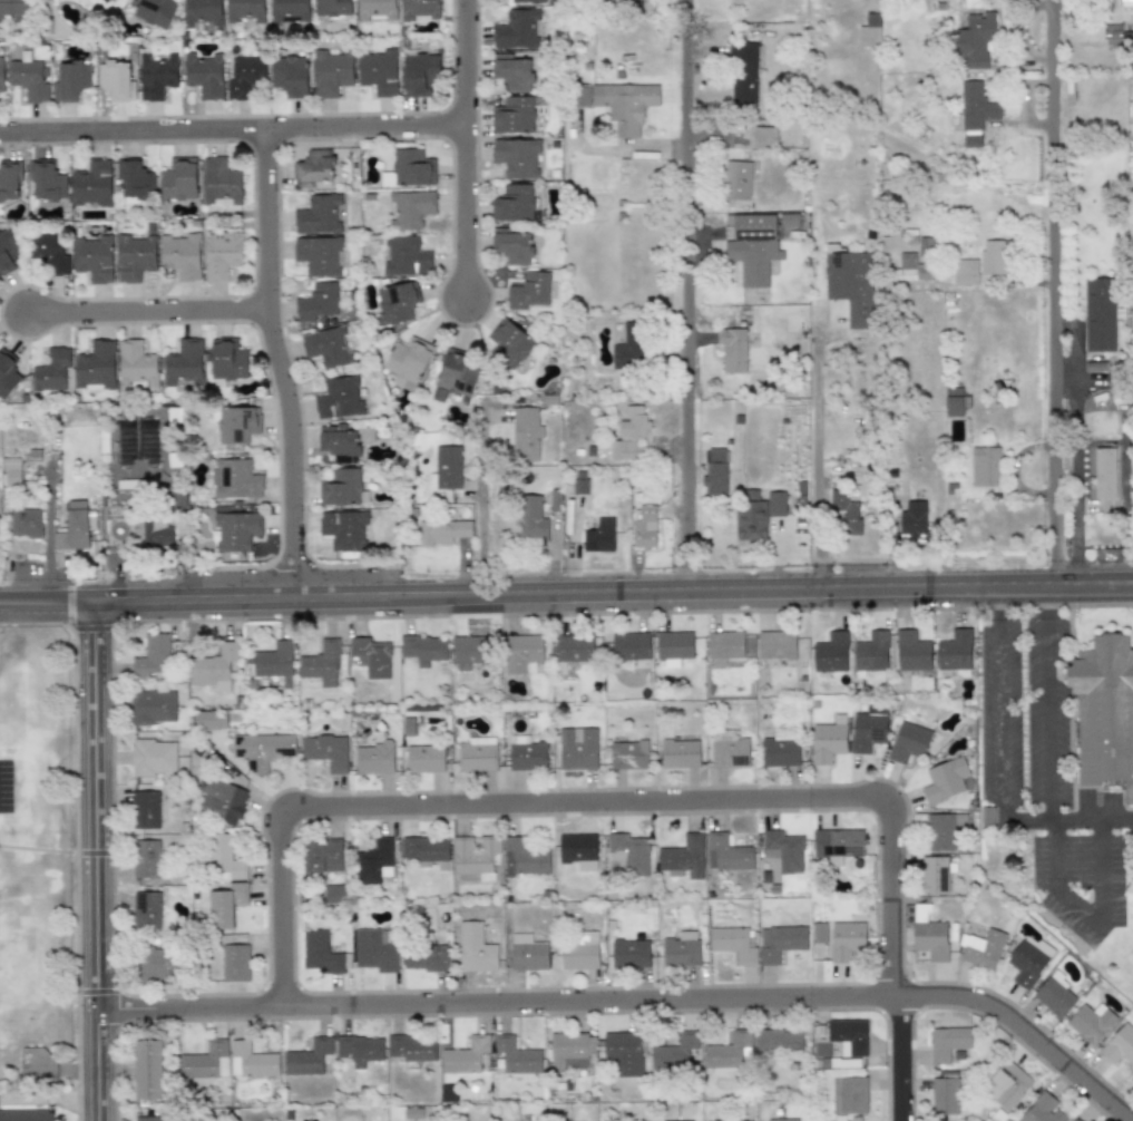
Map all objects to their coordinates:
building: (105, 1)
building: (529, 1)
building: (1125, 2)
building: (332, 7)
building: (12, 10)
building: (244, 10)
building: (287, 10)
building: (377, 10)
building: (419, 10)
building: (202, 11)
building: (155, 12)
building: (516, 29)
building: (869, 31)
building: (1117, 32)
building: (974, 40)
road: (463, 61)
building: (378, 71)
building: (511, 71)
building: (331, 72)
building: (743, 72)
building: (0, 75)
building: (204, 75)
building: (290, 75)
building: (420, 75)
building: (156, 76)
building: (245, 76)
building: (28, 79)
building: (70, 80)
building: (582, 96)
building: (624, 99)
building: (975, 113)
building: (512, 115)
road: (363, 126)
road: (131, 129)
building: (627, 130)
building: (764, 137)
building: (517, 157)
building: (314, 166)
building: (410, 167)
building: (133, 176)
building: (9, 177)
building: (178, 179)
building: (736, 179)
building: (46, 181)
building: (219, 183)
building: (91, 184)
building: (512, 203)
building: (410, 208)
road: (463, 209)
building: (318, 215)
building: (512, 245)
building: (8, 247)
building: (752, 248)
building: (50, 251)
building: (221, 253)
building: (319, 254)
building: (180, 255)
building: (134, 256)
building: (994, 256)
building: (403, 257)
building: (94, 259)
building: (911, 269)
building: (964, 272)
building: (850, 284)
building: (528, 290)
road: (1056, 292)
road: (685, 294)
building: (318, 301)
building: (397, 302)
road: (145, 311)
building: (1098, 314)
building: (509, 343)
building: (328, 347)
building: (629, 347)
building: (733, 350)
building: (227, 360)
road: (276, 362)
building: (408, 362)
building: (183, 363)
building: (96, 365)
building: (136, 365)
building: (51, 370)
building: (7, 371)
building: (453, 374)
building: (339, 398)
building: (954, 401)
building: (236, 423)
building: (526, 433)
building: (629, 435)
building: (339, 443)
road: (815, 450)
building: (985, 466)
building: (446, 467)
building: (714, 471)
building: (11, 472)
building: (1104, 472)
building: (235, 479)
building: (342, 488)
road: (497, 504)
building: (844, 511)
building: (569, 516)
building: (533, 517)
building: (756, 517)
building: (912, 517)
building: (25, 523)
building: (643, 526)
building: (72, 528)
building: (344, 528)
building: (235, 530)
building: (442, 530)
building: (157, 534)
building: (598, 536)
road: (566, 591)
building: (777, 645)
building: (631, 646)
building: (724, 646)
building: (673, 647)
building: (423, 649)
building: (469, 650)
building: (573, 651)
building: (911, 651)
building: (954, 651)
building: (831, 652)
building: (522, 653)
building: (871, 653)
building: (153, 654)
building: (371, 656)
building: (274, 662)
building: (321, 664)
building: (212, 665)
road: (999, 703)
building: (153, 705)
building: (1104, 711)
building: (209, 720)
building: (868, 729)
road: (1047, 729)
building: (827, 740)
building: (908, 741)
building: (262, 749)
building: (577, 749)
building: (729, 749)
building: (325, 751)
building: (780, 751)
building: (476, 753)
building: (526, 753)
building: (680, 753)
building: (628, 754)
building: (153, 757)
building: (373, 759)
building: (424, 759)
building: (944, 780)
parking lot: (4, 786)
building: (223, 800)
road: (582, 803)
building: (145, 810)
building: (987, 816)
road: (1067, 819)
building: (942, 829)
building: (838, 842)
building: (423, 848)
building: (578, 850)
building: (628, 850)
building: (783, 850)
building: (473, 854)
building: (726, 854)
building: (322, 857)
building: (524, 857)
building: (146, 858)
building: (682, 858)
road: (95, 859)
building: (224, 859)
building: (374, 861)
building: (936, 874)
road: (1098, 874)
road: (1075, 900)
building: (226, 905)
building: (146, 910)
building: (819, 933)
building: (929, 935)
building: (846, 939)
building: (779, 942)
building: (732, 944)
building: (475, 948)
building: (980, 948)
building: (374, 949)
building: (681, 949)
building: (580, 951)
building: (320, 952)
building: (527, 953)
building: (629, 954)
building: (427, 957)
building: (159, 963)
building: (235, 963)
building: (1026, 964)
building: (1054, 994)
road: (632, 1002)
building: (1091, 1022)
building: (849, 1036)
building: (779, 1042)
building: (948, 1042)
building: (1120, 1044)
building: (411, 1047)
building: (359, 1049)
building: (726, 1051)
building: (568, 1052)
building: (623, 1053)
building: (674, 1053)
building: (465, 1055)
building: (517, 1055)
building: (307, 1057)
road: (901, 1059)
building: (251, 1060)
building: (205, 1061)
building: (147, 1069)
building: (1132, 1081)
building: (1006, 1084)
building: (448, 1092)
building: (849, 1094)
building: (945, 1095)
building: (1042, 1110)
building: (26, 1115)
building: (147, 1119)
building: (682, 1120)
building: (782, 1120)
building: (1073, 1120)

